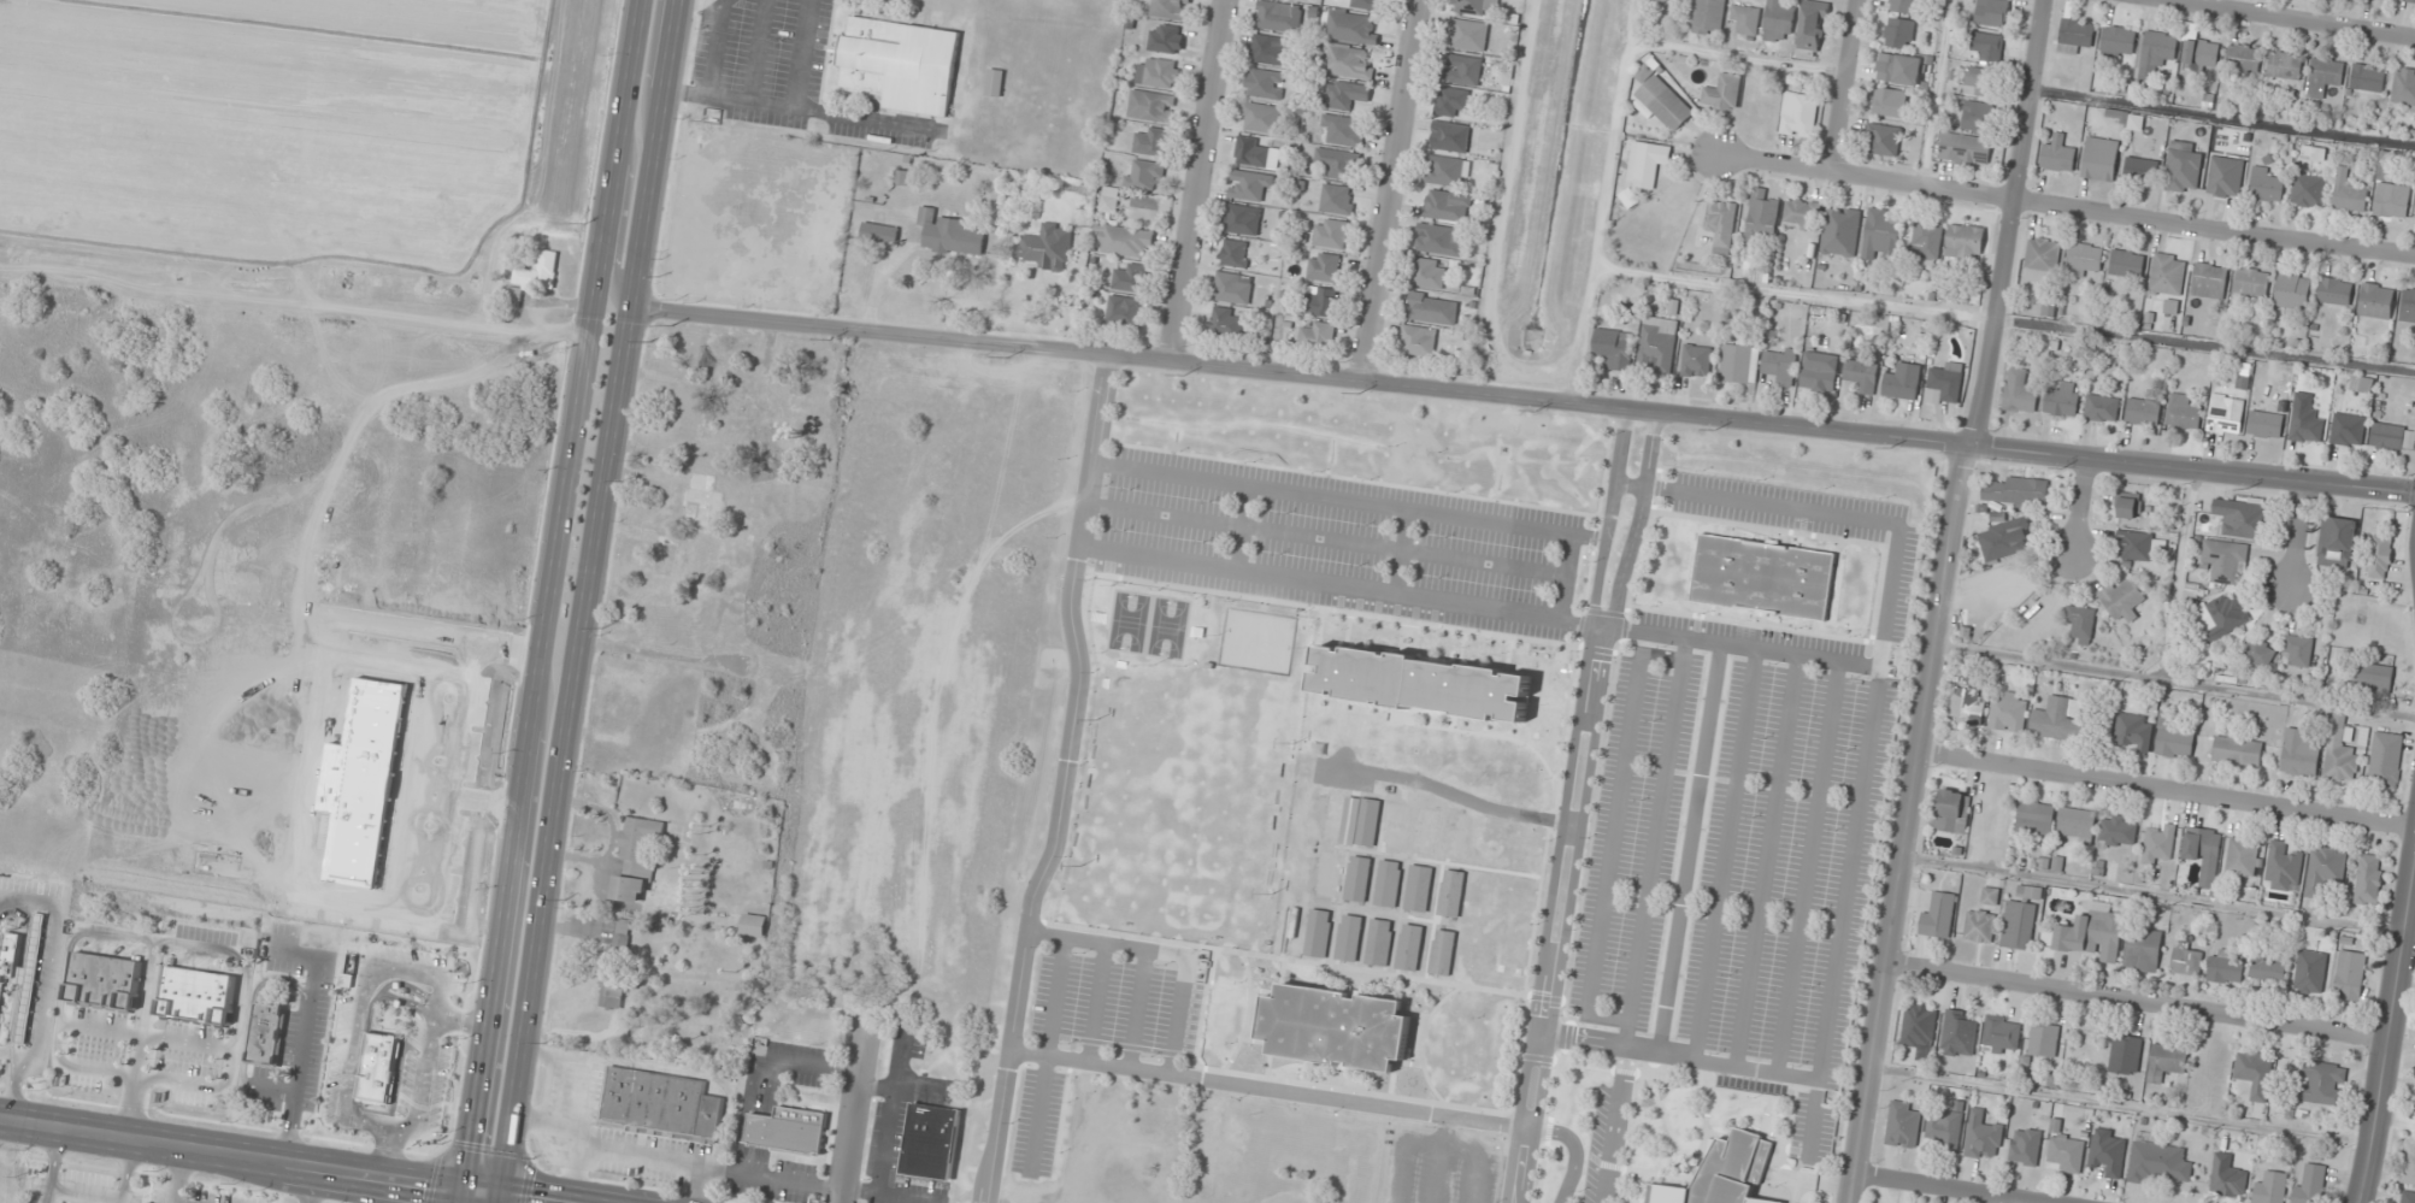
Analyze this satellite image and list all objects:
building: (1662, 1)
building: (2411, 1)
building: (1368, 4)
building: (1904, 5)
building: (1477, 7)
building: (1171, 8)
building: (1992, 12)
building: (1279, 16)
building: (1709, 17)
road: (2291, 18)
building: (1747, 19)
building: (1778, 22)
building: (1813, 25)
building: (1351, 26)
building: (1898, 33)
building: (1469, 35)
building: (2074, 35)
building: (1167, 39)
building: (2116, 41)
building: (1987, 46)
building: (1270, 49)
building: (2154, 54)
building: (2201, 54)
road: (1737, 57)
building: (2243, 58)
building: (1348, 61)
building: (902, 64)
building: (2285, 64)
road: (649, 65)
building: (1463, 69)
building: (1903, 69)
building: (1159, 72)
building: (2323, 76)
building: (2367, 77)
building: (1979, 81)
building: (995, 82)
building: (1265, 83)
road: (1842, 85)
building: (2404, 88)
building: (1722, 93)
road: (1933, 93)
building: (1347, 94)
building: (1453, 101)
building: (1890, 101)
building: (1662, 102)
building: (1151, 106)
building: (1800, 114)
building: (1978, 116)
road: (2223, 116)
building: (1261, 117)
building: (1344, 129)
building: (1450, 136)
building: (1883, 138)
building: (1151, 140)
building: (1966, 148)
building: (1253, 152)
building: (2057, 154)
building: (1649, 158)
building: (2099, 158)
building: (1339, 163)
building: (2183, 167)
building: (1444, 170)
building: (2142, 170)
building: (1144, 175)
building: (2225, 176)
road: (1197, 182)
building: (2266, 184)
building: (1251, 185)
road: (1394, 191)
building: (2308, 193)
building: (2348, 193)
building: (2390, 193)
building: (1337, 199)
building: (1111, 200)
road: (1603, 202)
building: (1447, 205)
road: (2067, 208)
building: (1802, 213)
building: (1763, 217)
building: (1243, 219)
road: (622, 220)
building: (1721, 224)
building: (1840, 231)
building: (1331, 232)
building: (880, 234)
building: (950, 235)
building: (1881, 236)
building: (1926, 237)
building: (1439, 238)
building: (1125, 240)
building: (1966, 242)
building: (1045, 246)
building: (1235, 253)
building: (2043, 256)
building: (2084, 259)
building: (2126, 264)
building: (1324, 266)
building: (540, 270)
building: (1430, 272)
building: (2167, 273)
building: (1131, 277)
building: (2209, 281)
building: (2252, 281)
building: (1233, 288)
building: (2291, 288)
building: (2336, 290)
building: (1321, 301)
building: (2376, 301)
building: (2408, 305)
building: (1433, 308)
building: (1125, 311)
road: (2005, 318)
building: (1226, 320)
building: (1318, 334)
building: (1418, 340)
building: (1657, 344)
building: (1614, 348)
building: (1696, 361)
building: (1739, 362)
building: (1780, 365)
building: (1863, 375)
building: (1820, 376)
building: (1902, 382)
building: (1945, 384)
building: (2362, 384)
building: (2020, 391)
building: (2062, 399)
road: (1522, 400)
building: (2102, 407)
building: (2143, 411)
building: (2184, 413)
building: (2226, 414)
building: (2266, 424)
building: (2305, 427)
building: (2348, 429)
building: (2387, 436)
road: (1356, 479)
road: (1769, 482)
building: (2016, 491)
road: (1348, 499)
road: (2080, 505)
building: (2130, 506)
building: (2242, 518)
road: (1242, 526)
road: (1595, 529)
road: (2297, 532)
road: (1814, 536)
building: (2003, 538)
road: (1325, 539)
building: (2337, 542)
building: (2140, 546)
road: (1401, 550)
building: (2380, 556)
road: (1637, 559)
building: (2223, 560)
road: (2179, 576)
road: (1565, 577)
building: (1761, 577)
building: (2009, 584)
road: (1336, 585)
road: (549, 592)
road: (584, 595)
building: (2122, 597)
road: (1942, 600)
road: (1342, 611)
building: (2221, 615)
park: (1126, 621)
road: (1751, 624)
building: (2080, 624)
park: (1166, 627)
road: (1734, 644)
building: (2297, 650)
building: (2255, 653)
building: (2374, 677)
road: (2174, 683)
building: (1420, 684)
building: (1967, 698)
road: (1871, 702)
building: (2008, 712)
building: (2058, 719)
building: (2133, 732)
building: (2174, 743)
building: (2237, 749)
building: (2339, 751)
building: (2299, 753)
building: (2385, 760)
road: (1065, 780)
road: (2166, 788)
road: (1566, 807)
road: (1584, 807)
park: (1162, 810)
building: (1952, 810)
building: (2034, 815)
building: (1351, 820)
road: (1889, 821)
building: (2077, 824)
building: (1395, 826)
building: (1426, 831)
building: (2116, 831)
road: (1613, 833)
road: (1654, 841)
building: (2158, 845)
road: (1689, 847)
building: (2204, 851)
road: (1724, 854)
building: (2242, 856)
building: (638, 860)
road: (1766, 860)
road: (1807, 867)
building: (2283, 867)
building: (2325, 871)
building: (1327, 873)
building: (1357, 878)
building: (2368, 879)
building: (1388, 883)
building: (1419, 887)
building: (2030, 892)
road: (2152, 894)
building: (1990, 896)
building: (1939, 914)
building: (754, 925)
building: (1979, 925)
building: (2019, 925)
building: (1318, 932)
building: (2091, 934)
road: (1045, 936)
road: (1130, 936)
building: (1349, 937)
building: (1379, 942)
road: (1120, 947)
building: (1409, 947)
building: (2143, 950)
building: (2186, 959)
building: (618, 963)
road: (1327, 965)
building: (2226, 966)
building: (2268, 967)
building: (2310, 971)
building: (22, 972)
building: (2349, 974)
building: (104, 980)
road: (408, 987)
building: (199, 996)
road: (2137, 1001)
road: (1095, 1004)
road: (1137, 1010)
road: (1247, 1014)
road: (353, 1022)
building: (1919, 1026)
road: (463, 1027)
building: (1333, 1027)
building: (267, 1033)
building: (1958, 1033)
road: (2390, 1033)
building: (2001, 1034)
road: (1420, 1039)
building: (2043, 1039)
road: (438, 1043)
road: (1674, 1054)
building: (2125, 1054)
road: (1625, 1058)
building: (2166, 1060)
building: (2255, 1073)
building: (404, 1080)
building: (2321, 1083)
road: (1702, 1085)
building: (560, 1087)
road: (1273, 1091)
road: (1397, 1097)
road: (1551, 1098)
building: (659, 1104)
road: (2121, 1105)
road: (852, 1111)
road: (1036, 1115)
road: (1060, 1119)
road: (365, 1122)
building: (1903, 1125)
building: (789, 1130)
building: (1945, 1130)
road: (397, 1136)
road: (1614, 1137)
road: (1779, 1137)
building: (1983, 1137)
road: (1628, 1138)
building: (931, 1140)
building: (560, 1146)
building: (2025, 1146)
building: (2064, 1150)
road: (231, 1151)
building: (2107, 1151)
road: (385, 1154)
road: (1573, 1154)
building: (1302, 1156)
road: (1680, 1156)
building: (2156, 1160)
building: (2408, 1167)
road: (176, 1173)
building: (1721, 1173)
building: (2227, 1177)
road: (310, 1184)
building: (2310, 1184)
road: (1949, 1187)
building: (2269, 1187)
road: (481, 1190)
traffic signals: (497, 1192)
road: (461, 1195)
road: (496, 1197)
road: (530, 1197)
building: (2408, 1197)
road: (170, 1202)
road: (173, 1202)

